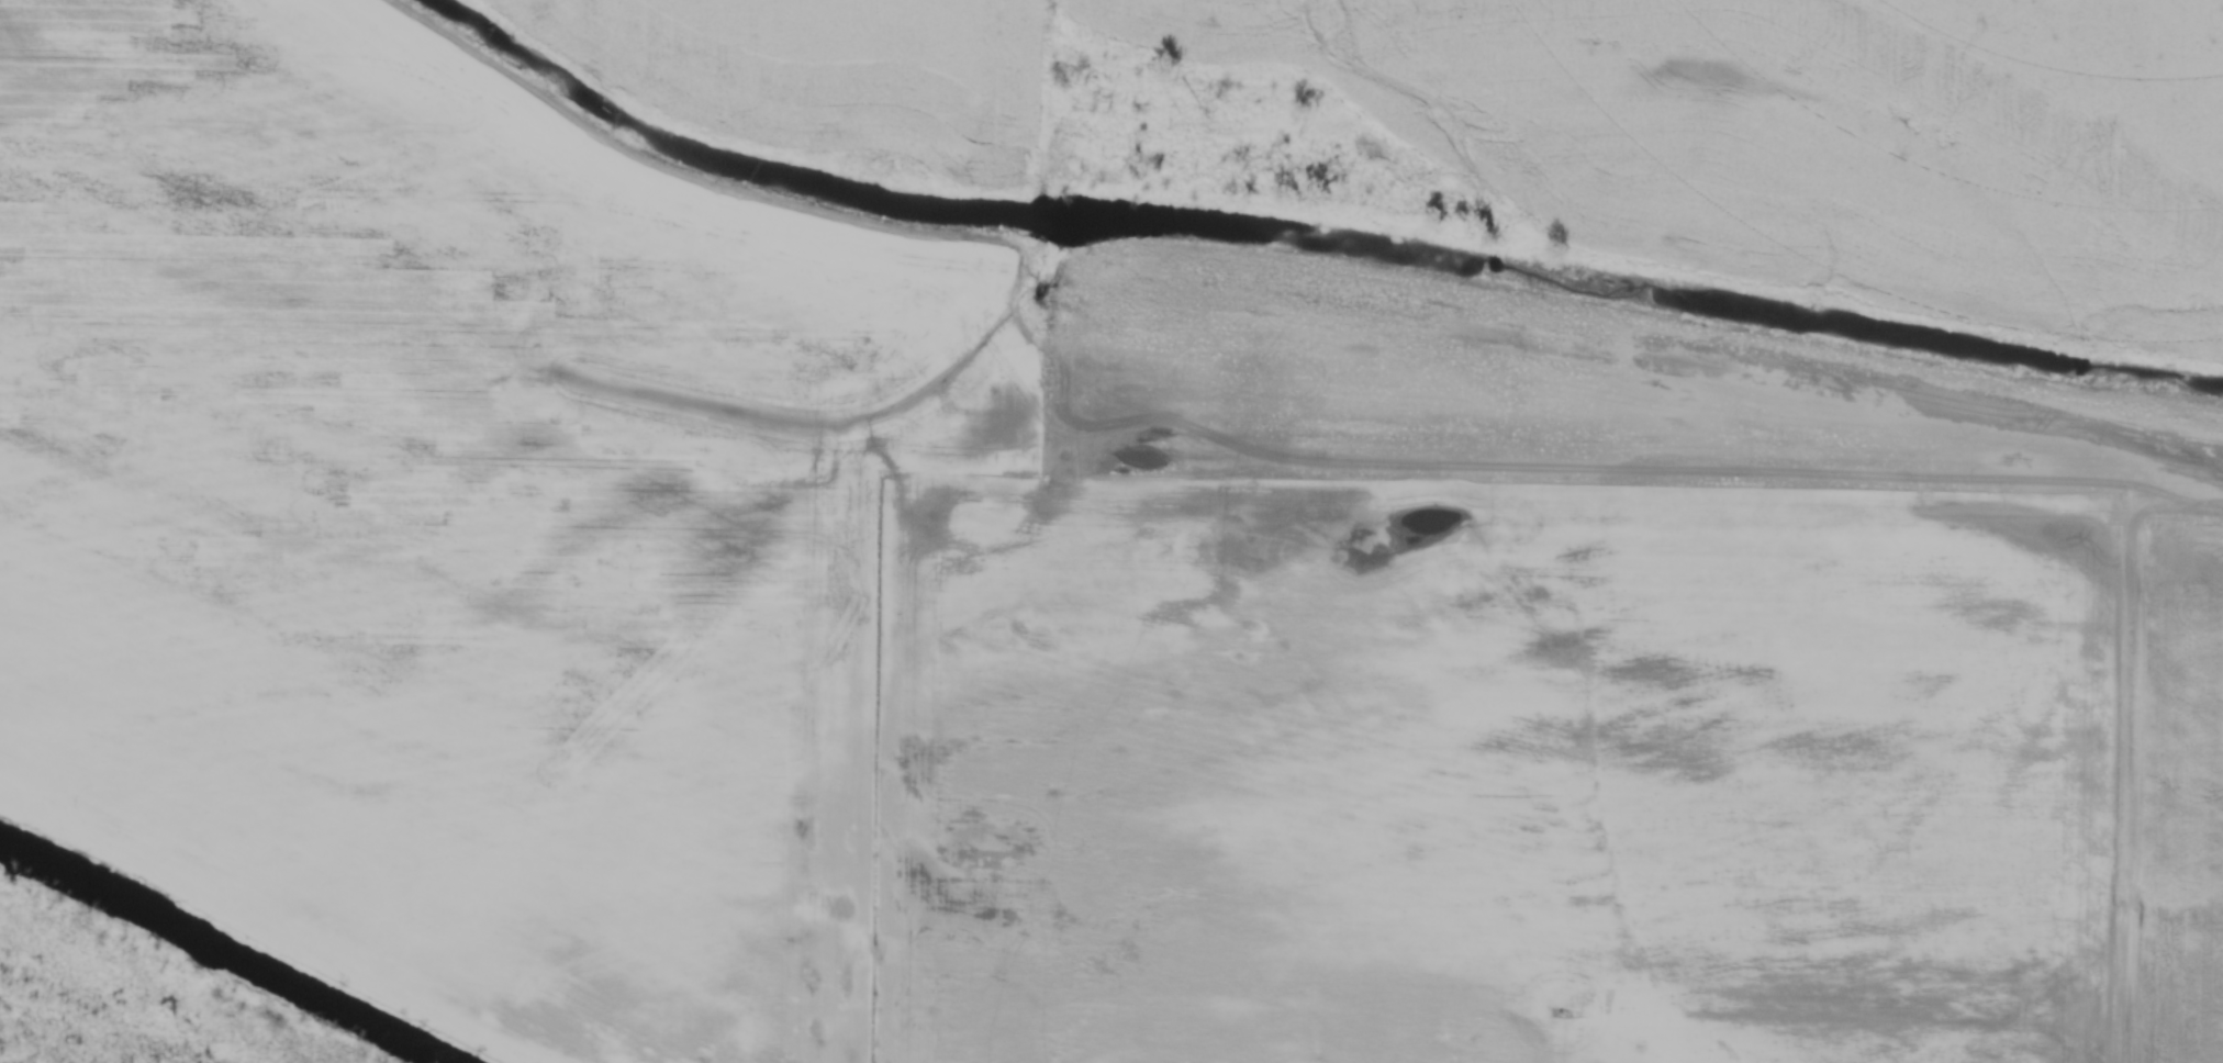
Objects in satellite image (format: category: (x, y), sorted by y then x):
road: (2126, 740)

